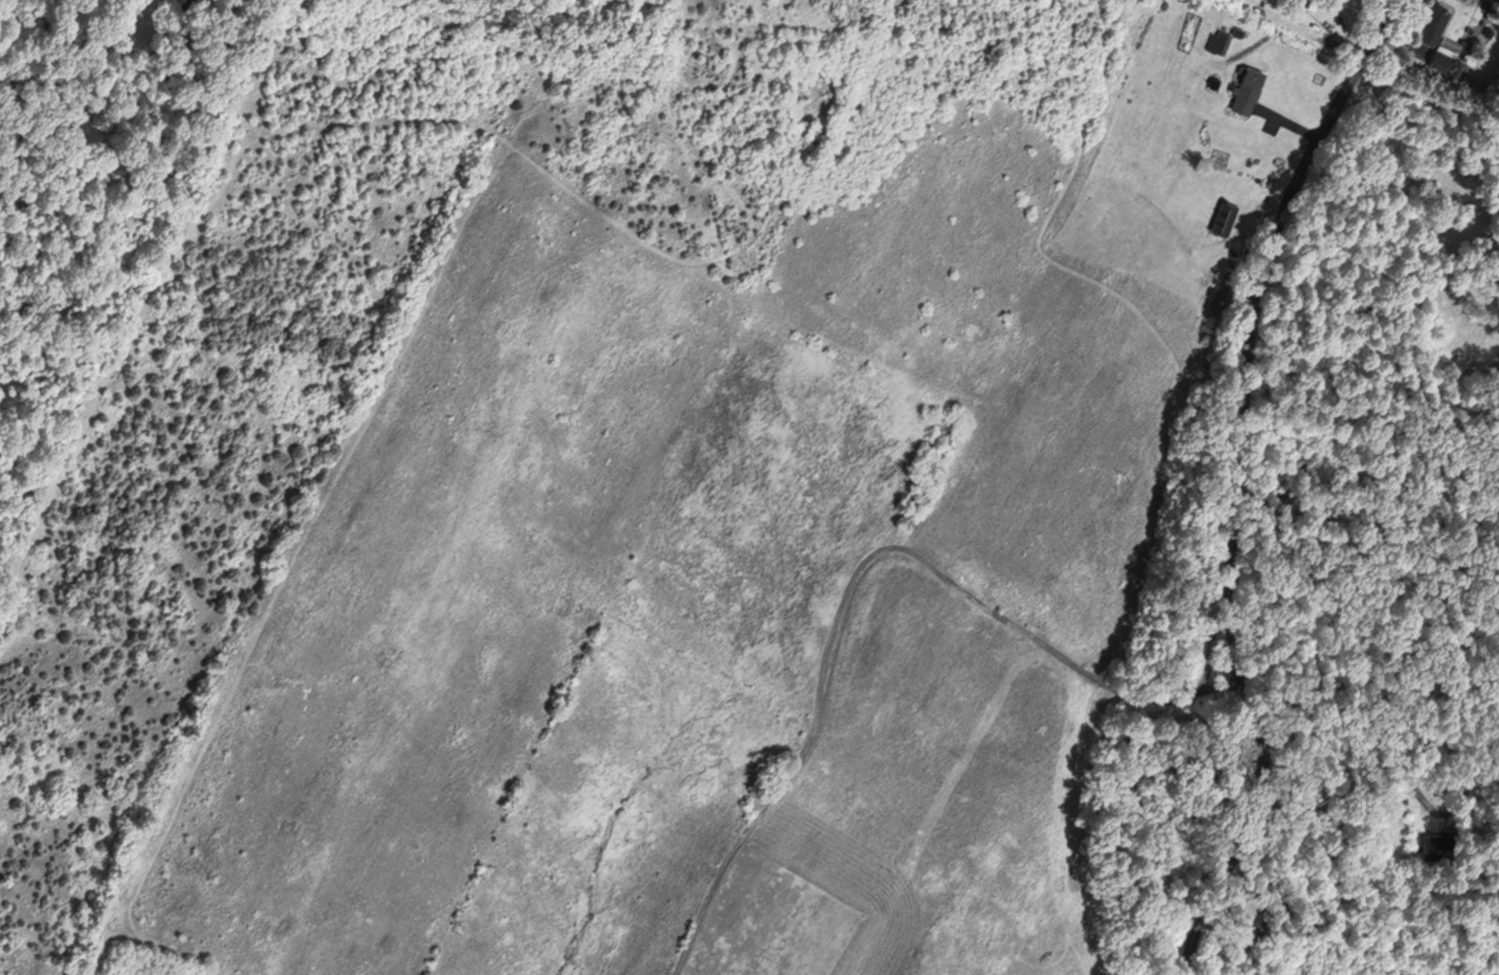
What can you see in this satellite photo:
building: (1310, 4)
building: (1430, 25)
building: (1238, 31)
building: (1220, 44)
road: (1337, 45)
building: (1214, 85)
building: (1246, 91)
road: (1288, 125)
building: (1221, 216)
road: (1240, 483)
road: (855, 573)
road: (1373, 755)
road: (1421, 803)
building: (1433, 837)
building: (1256, 927)

